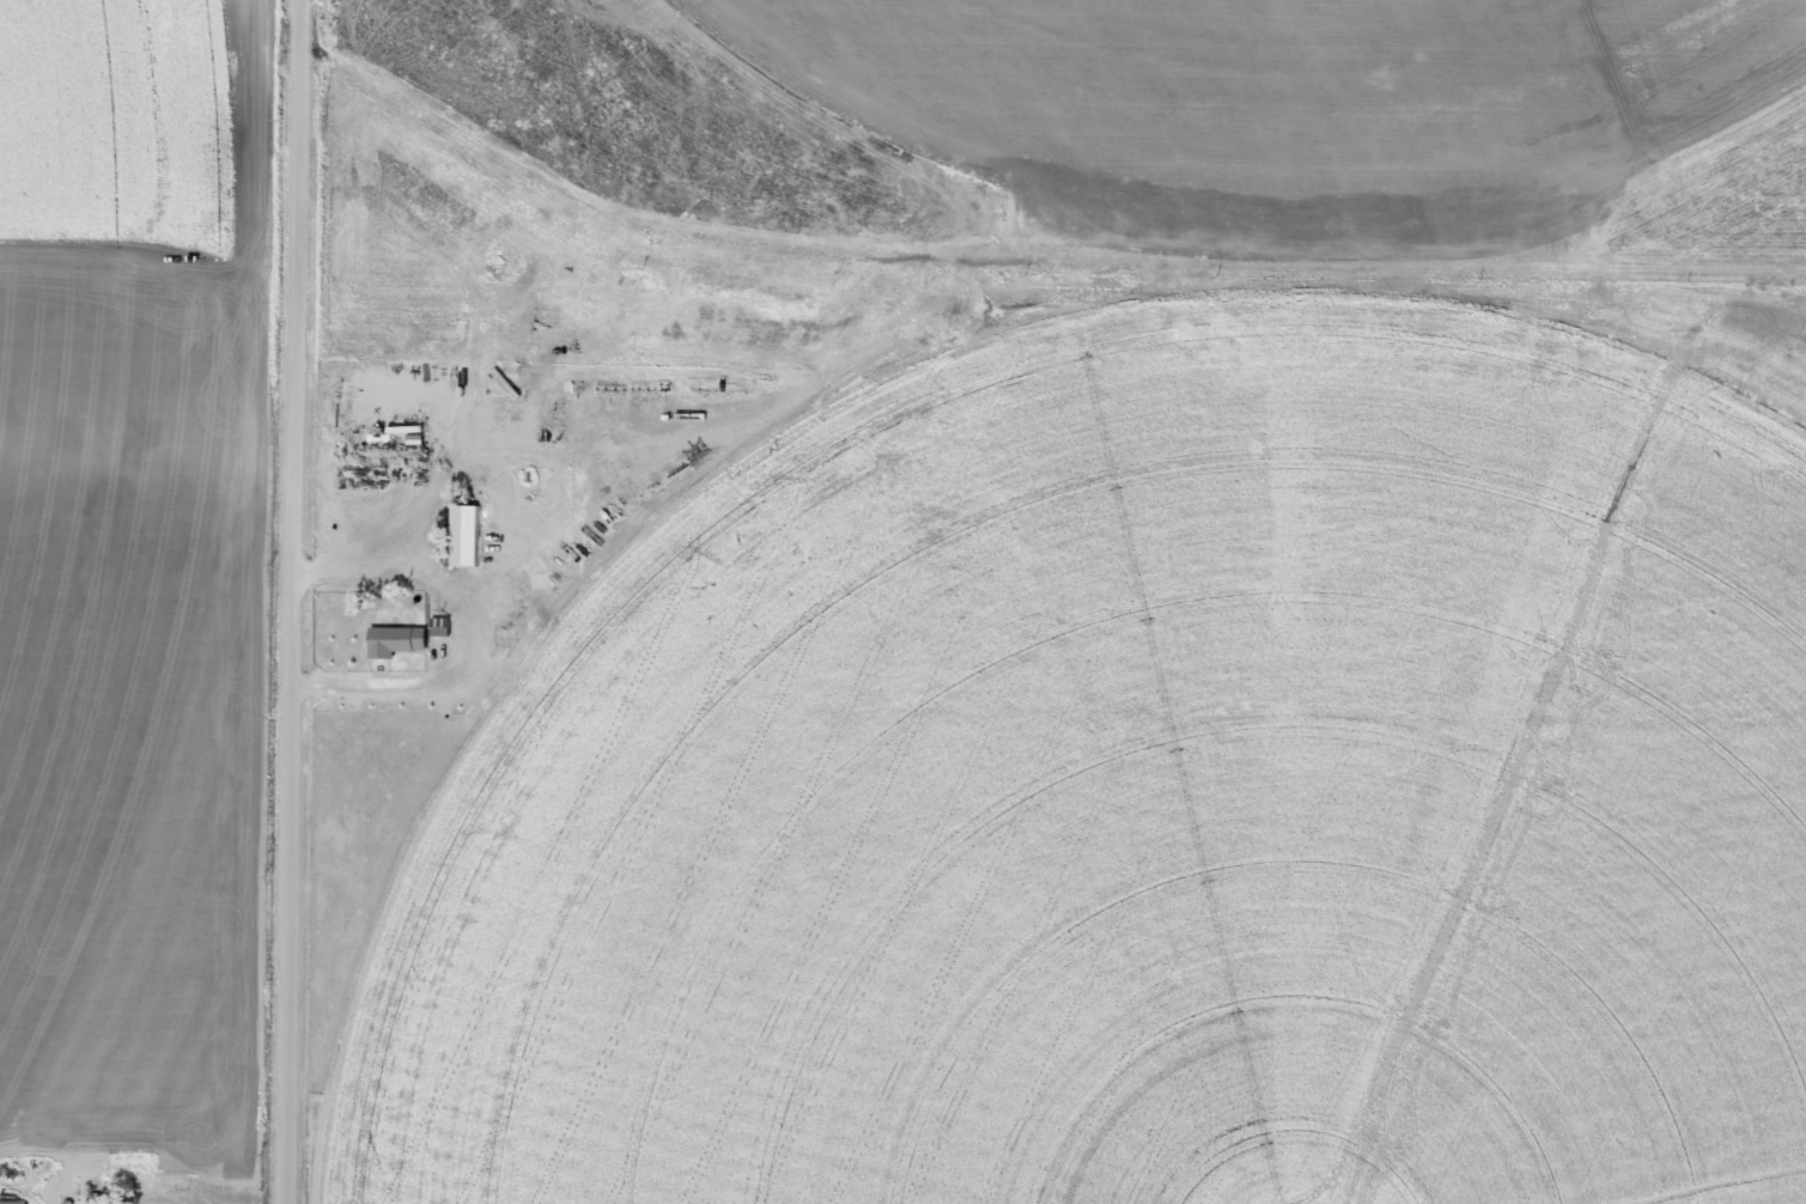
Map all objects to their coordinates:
building: (464, 535)
road: (291, 602)
crop: (1077, 603)
building: (394, 641)
building: (13, 1202)

